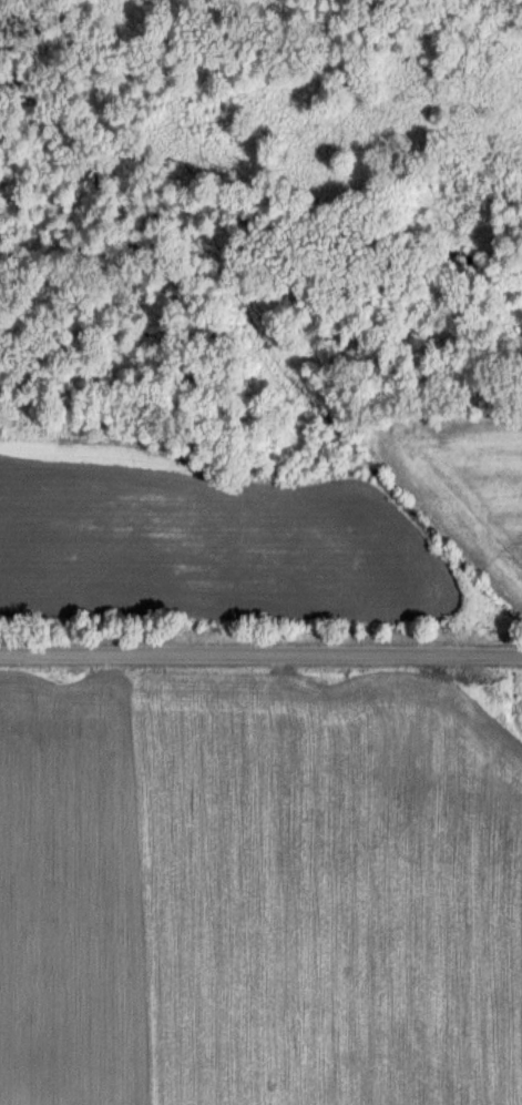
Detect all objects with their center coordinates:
road: (260, 653)

